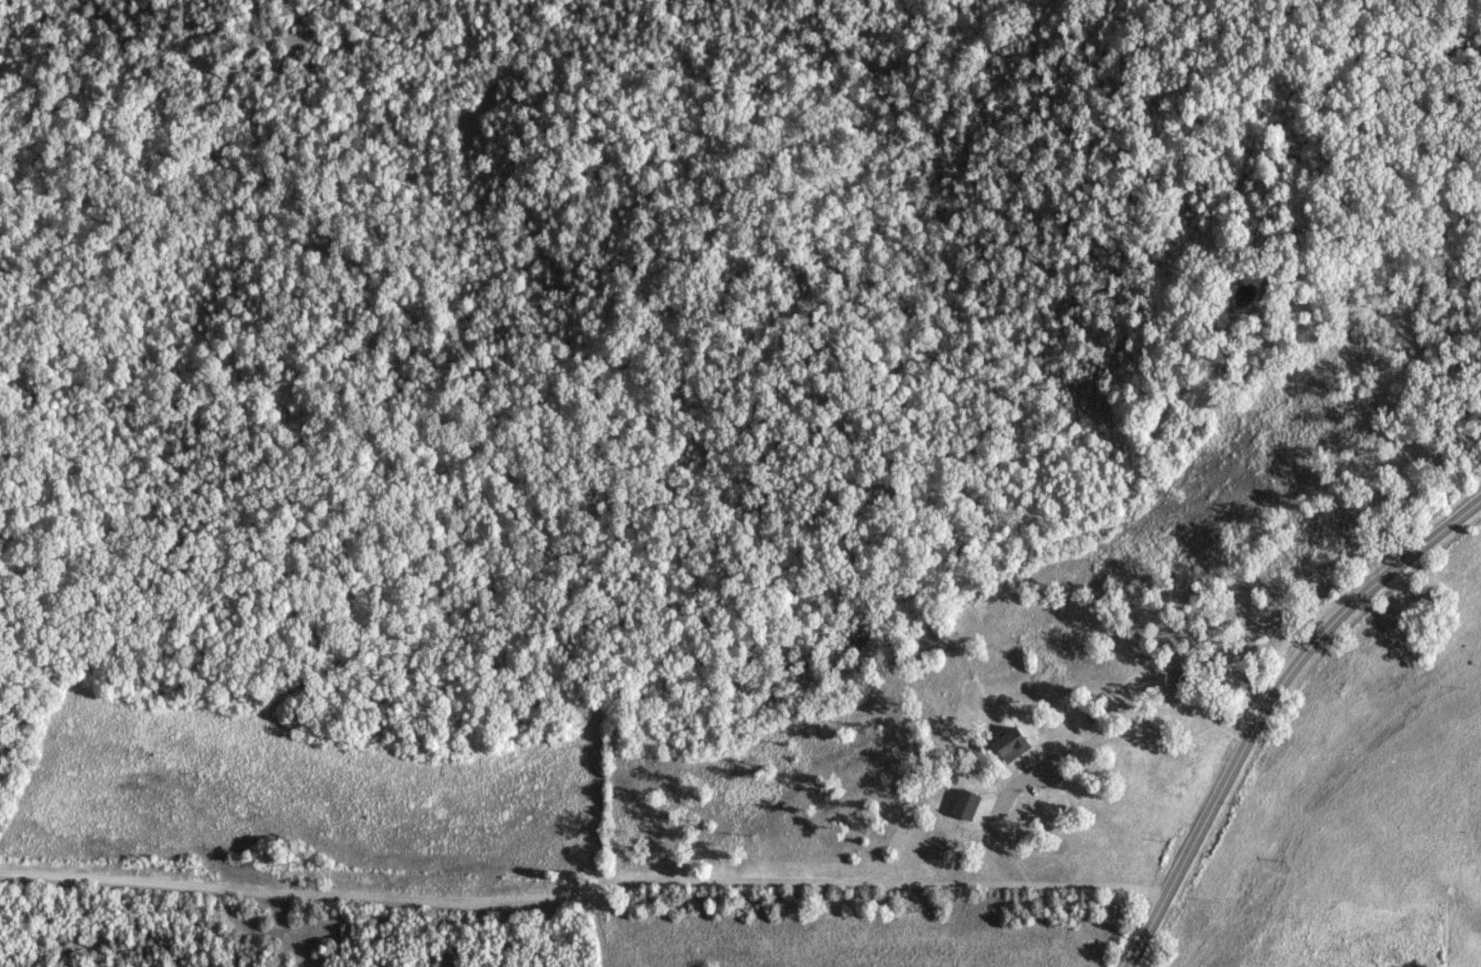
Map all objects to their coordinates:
road: (1264, 709)
road: (1071, 746)
building: (966, 805)
road: (786, 883)
road: (210, 885)

